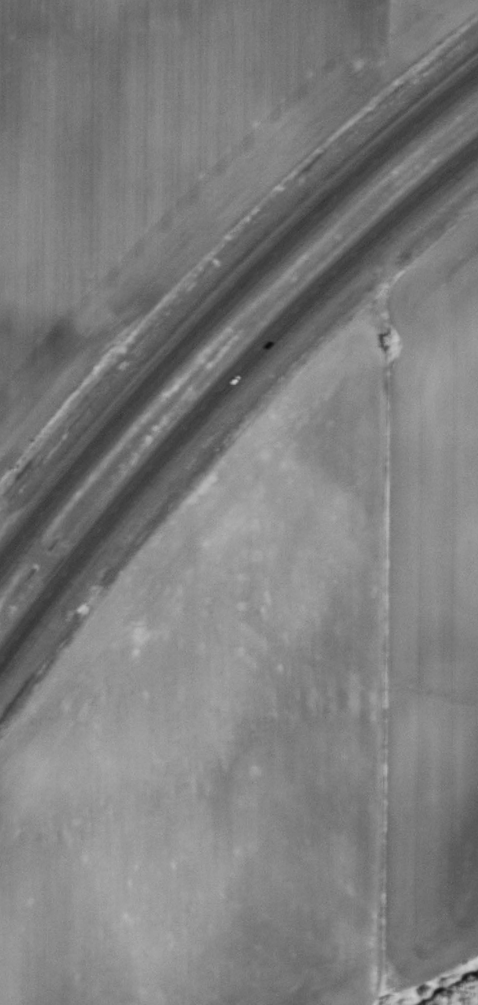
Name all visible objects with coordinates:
crop: (169, 123)
road: (223, 303)
road: (216, 407)
road: (47, 564)

